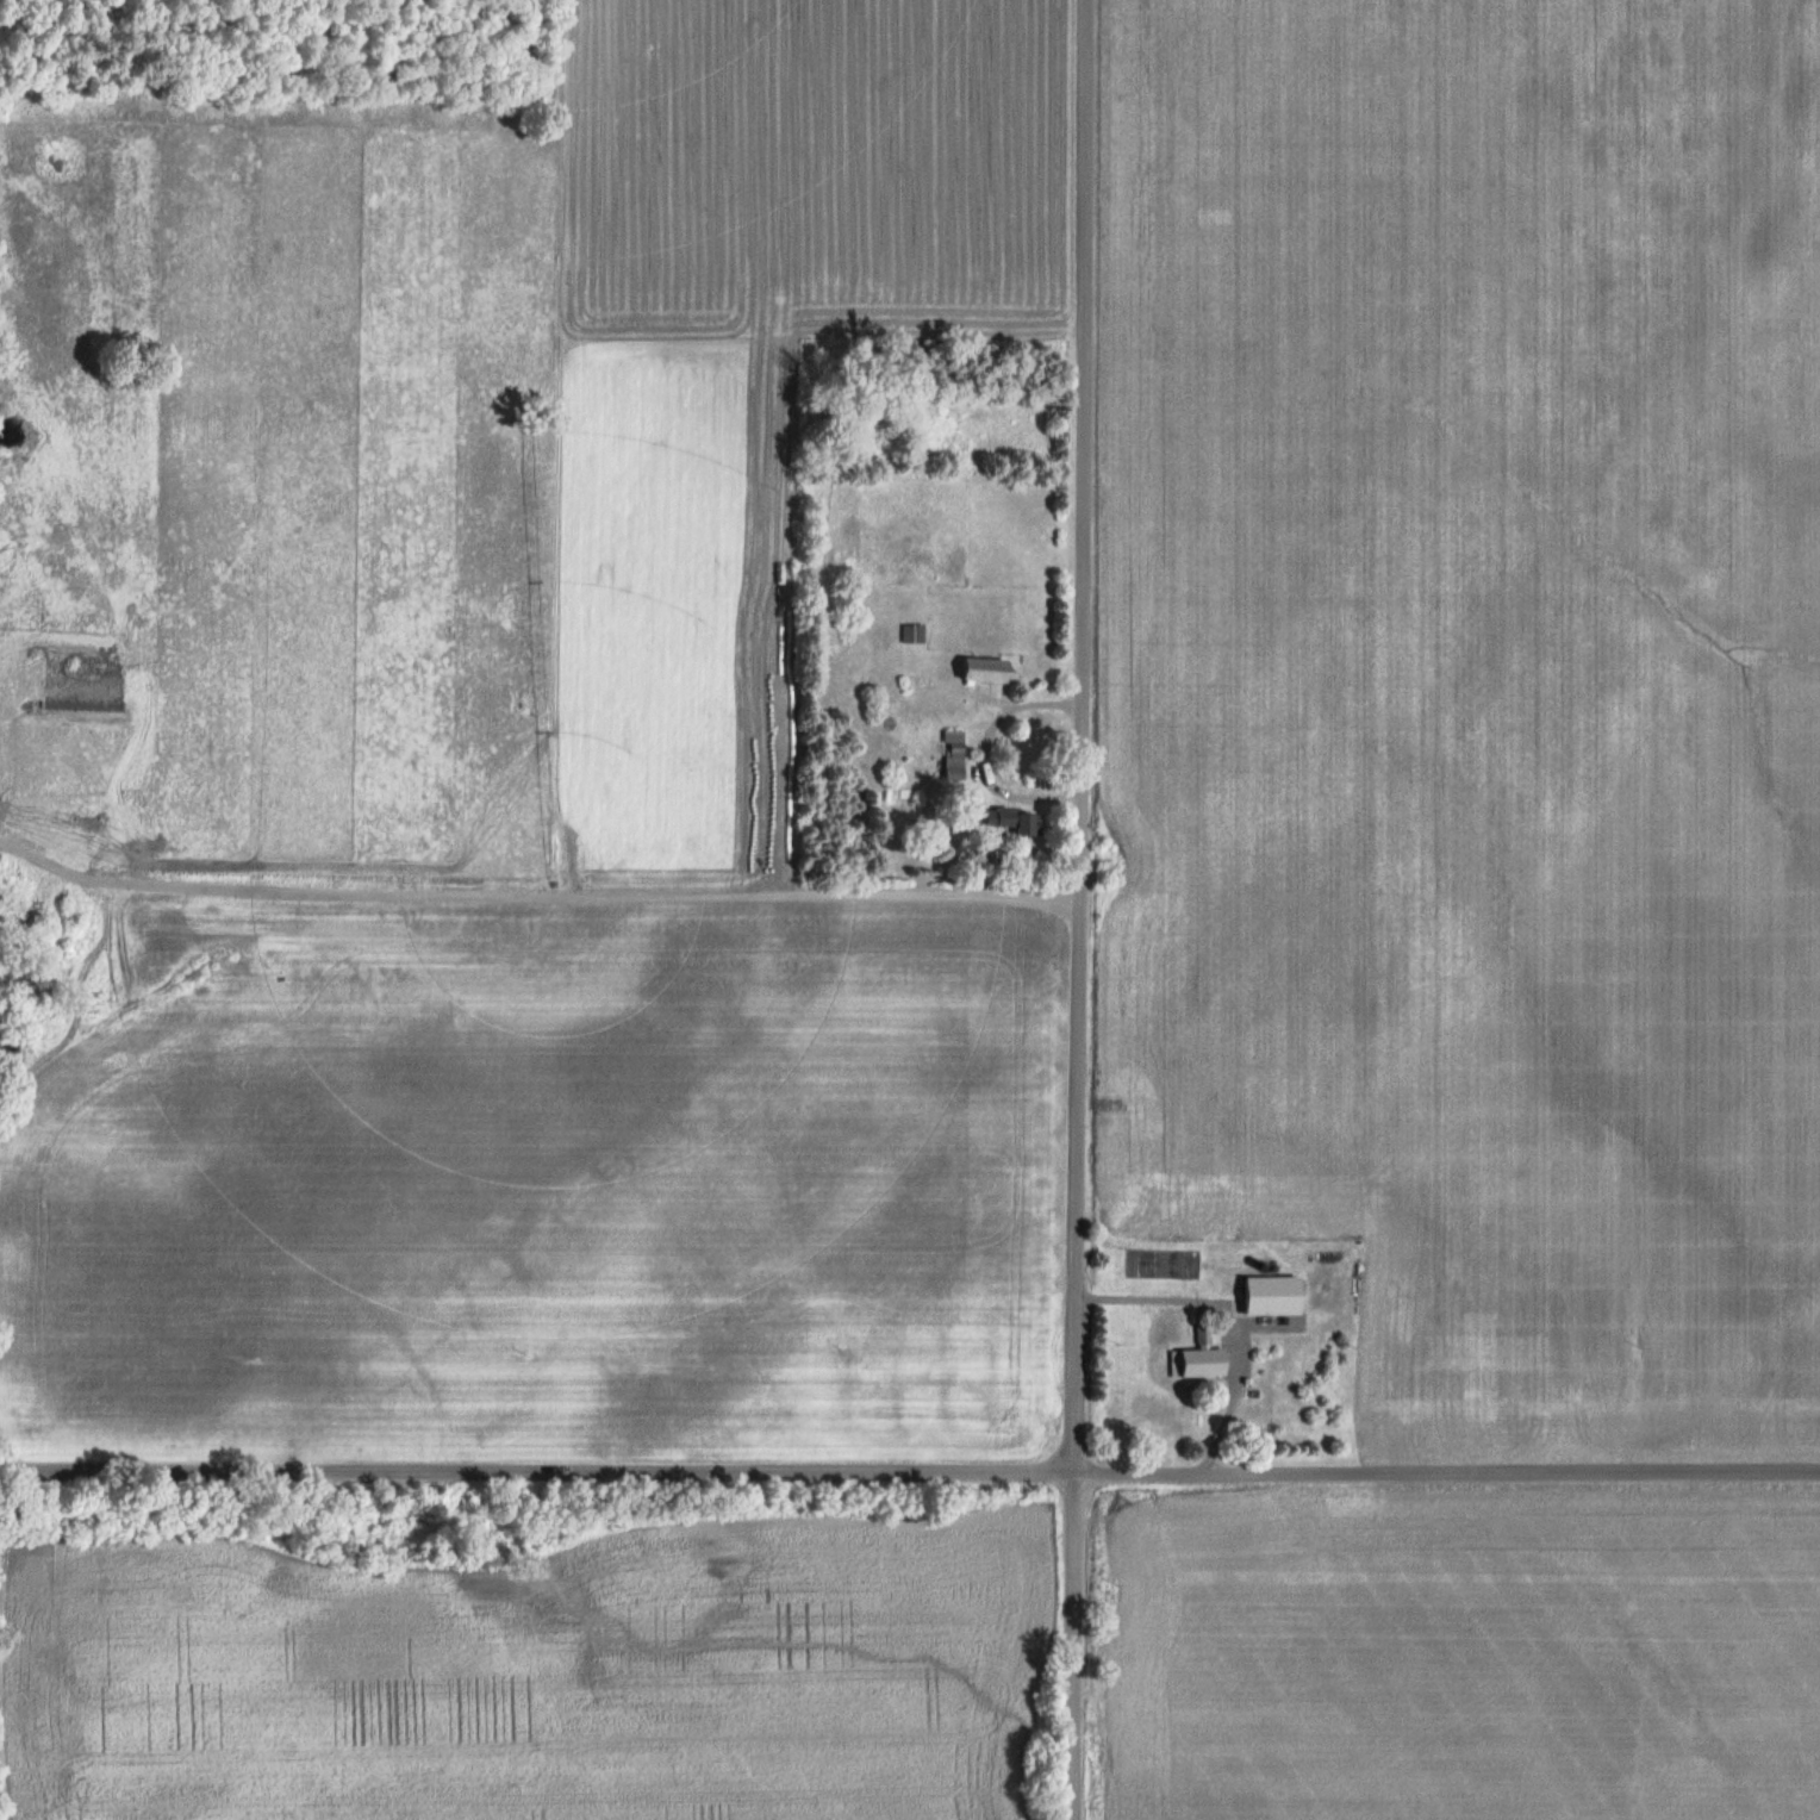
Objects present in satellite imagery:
building: (912, 635)
building: (984, 672)
building: (953, 756)
building: (1016, 823)
road: (1074, 910)
building: (1270, 1295)
road: (1218, 1314)
road: (909, 1476)

